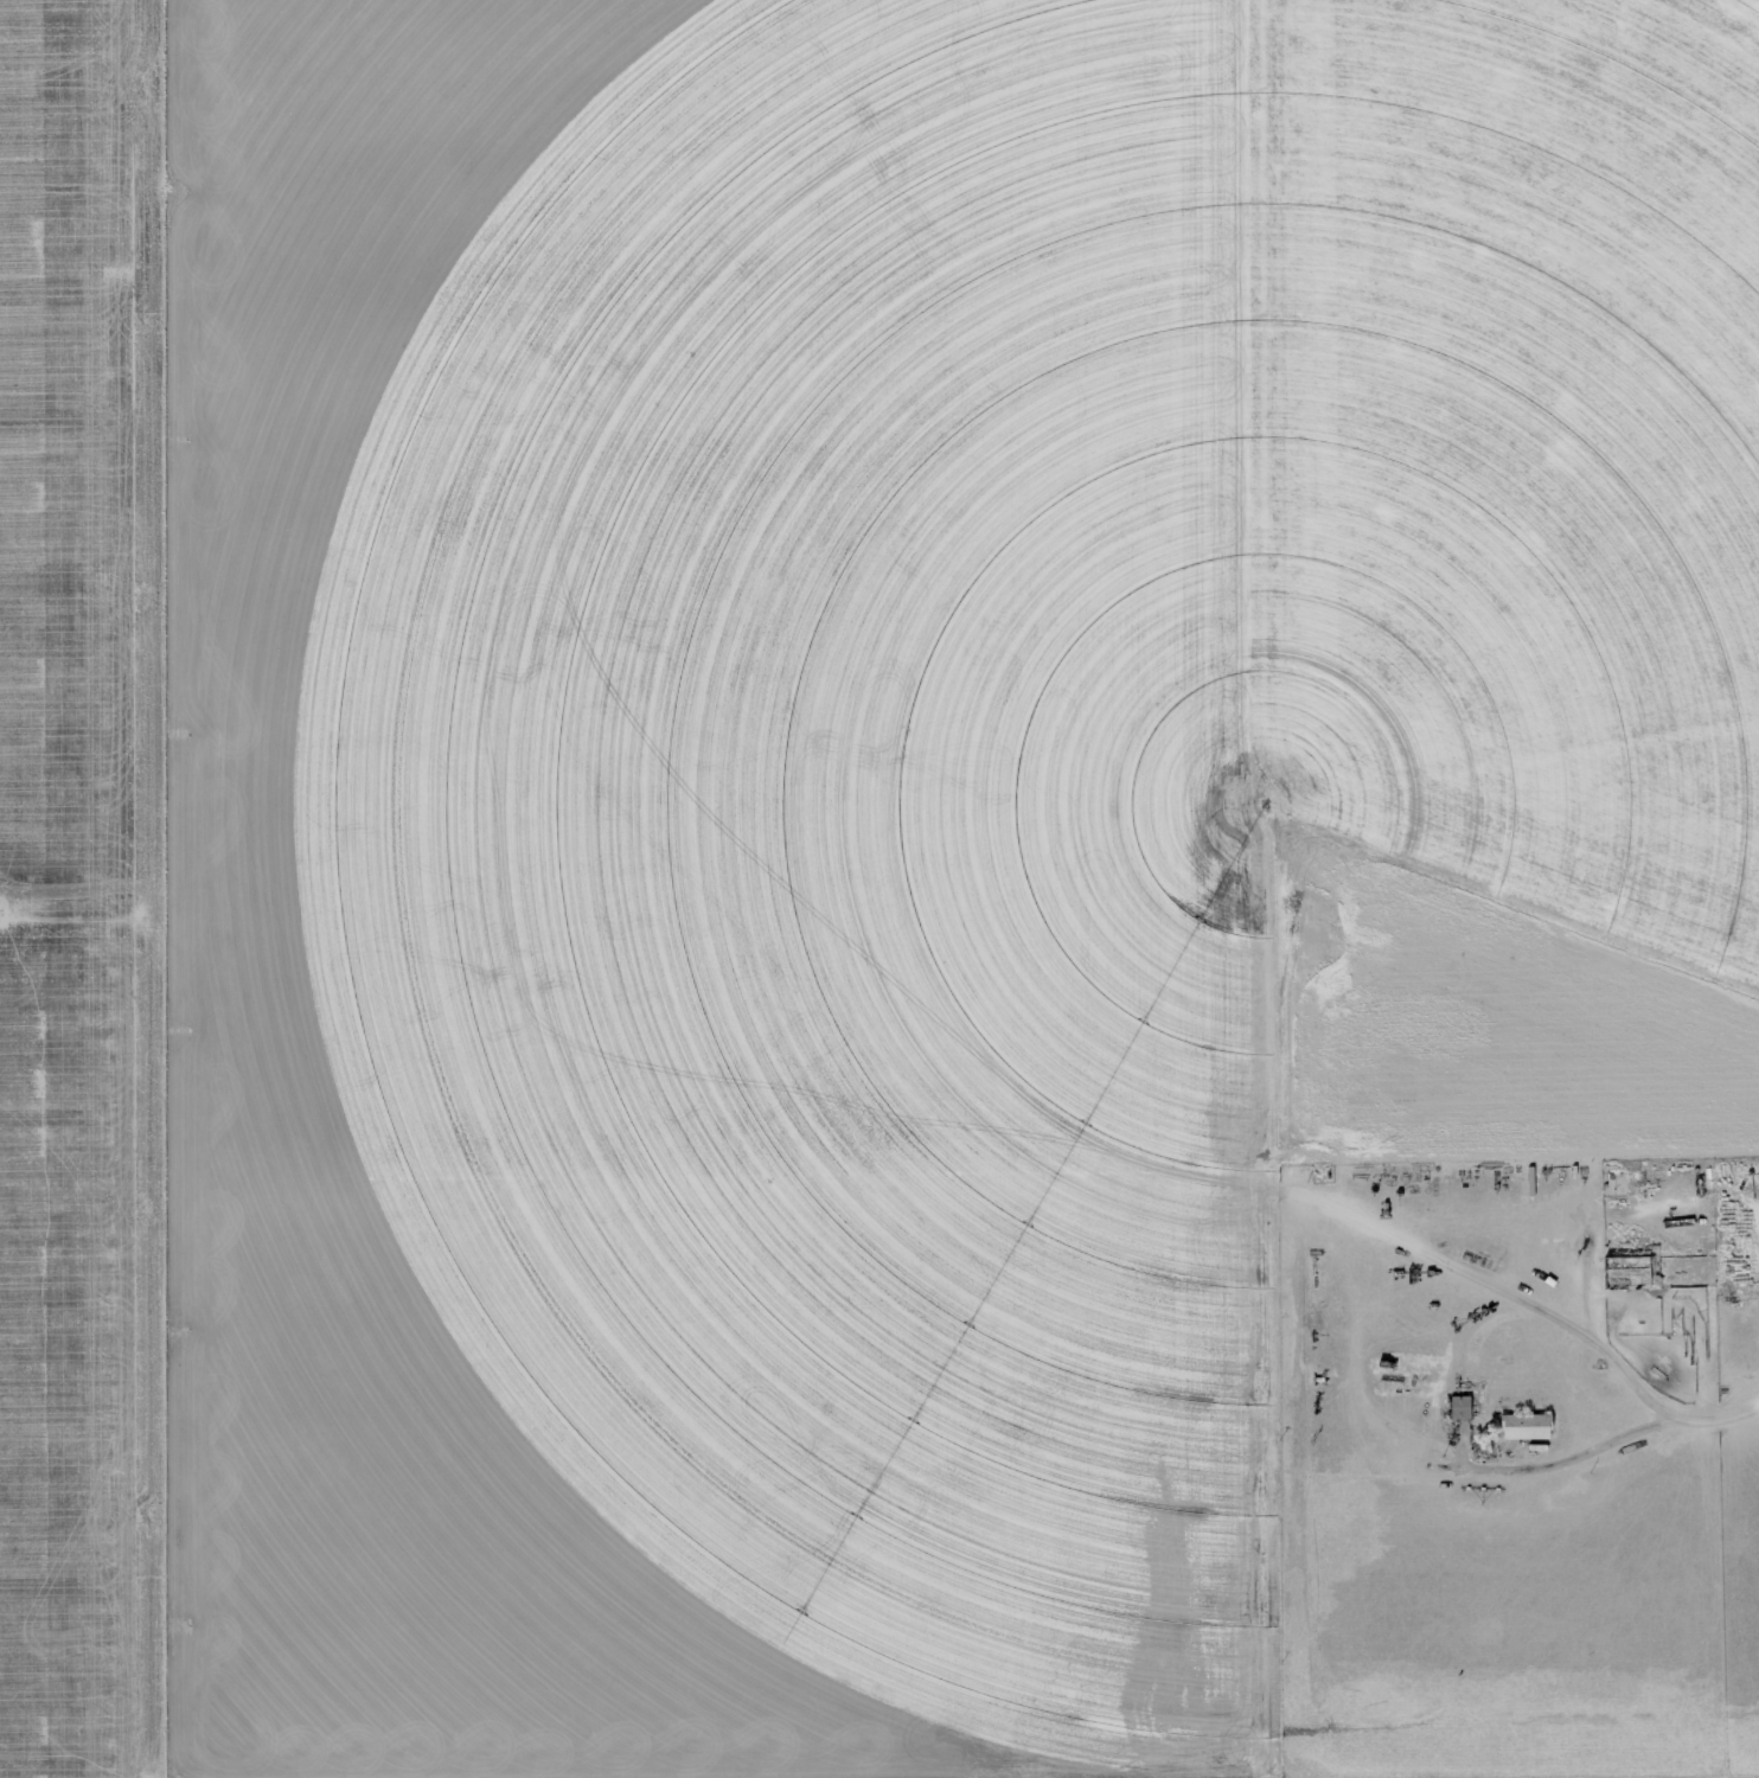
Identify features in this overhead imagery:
building: (1617, 1262)
building: (1454, 1405)
building: (1518, 1425)

